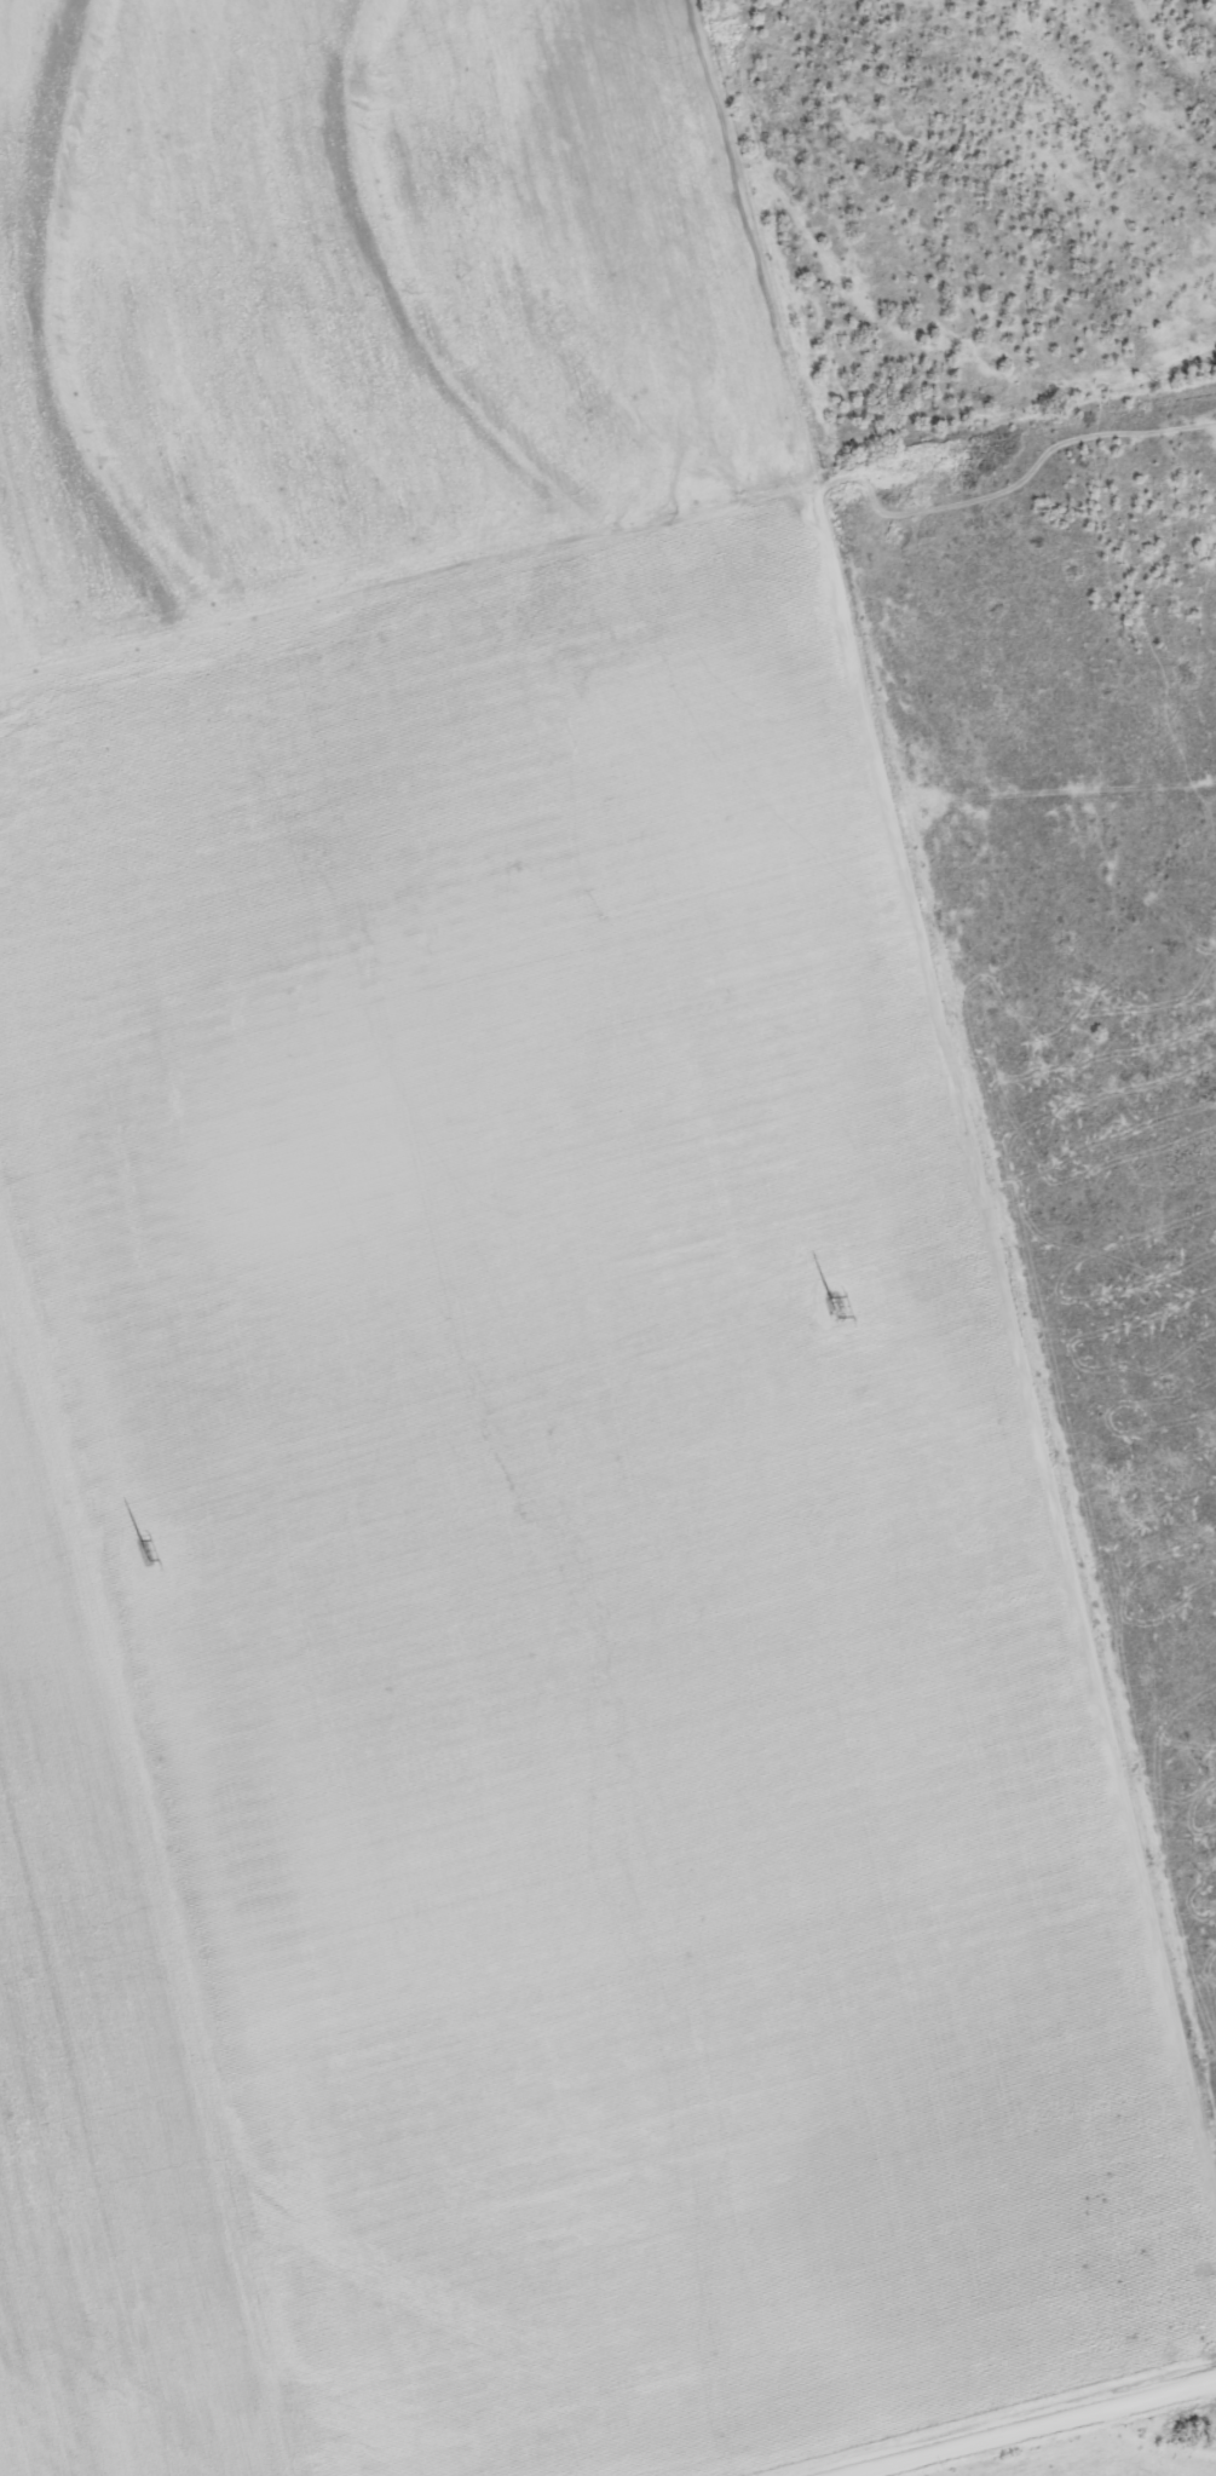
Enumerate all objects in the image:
road: (949, 1133)
power tower: (834, 1306)
power tower: (143, 1549)
road: (1103, 2447)

